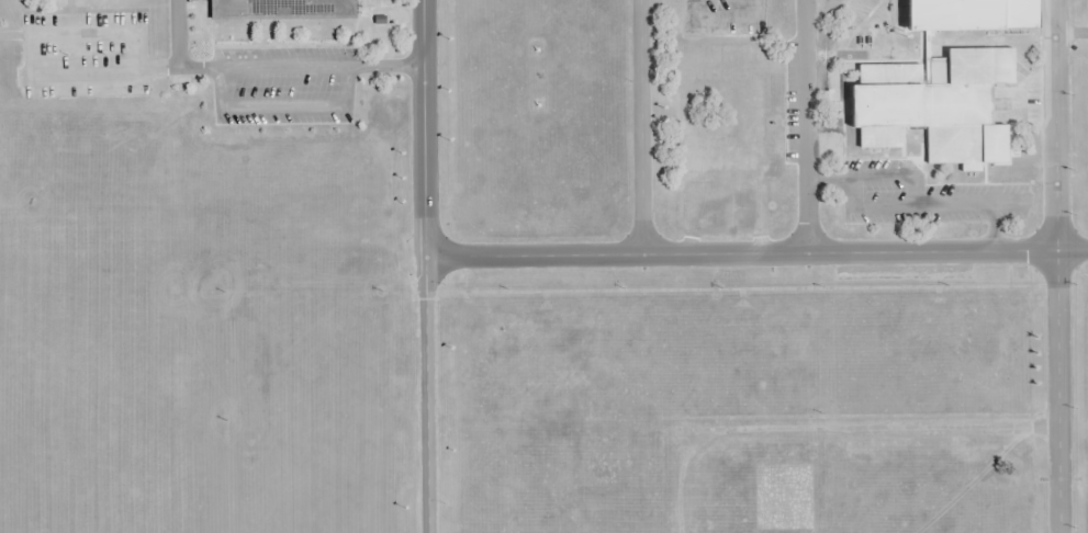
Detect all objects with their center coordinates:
building: (283, 8)
building: (972, 15)
building: (940, 105)
building: (731, 112)
road: (805, 126)
road: (642, 127)
road: (756, 252)
road: (1056, 265)
road: (427, 266)
road: (828, 429)

